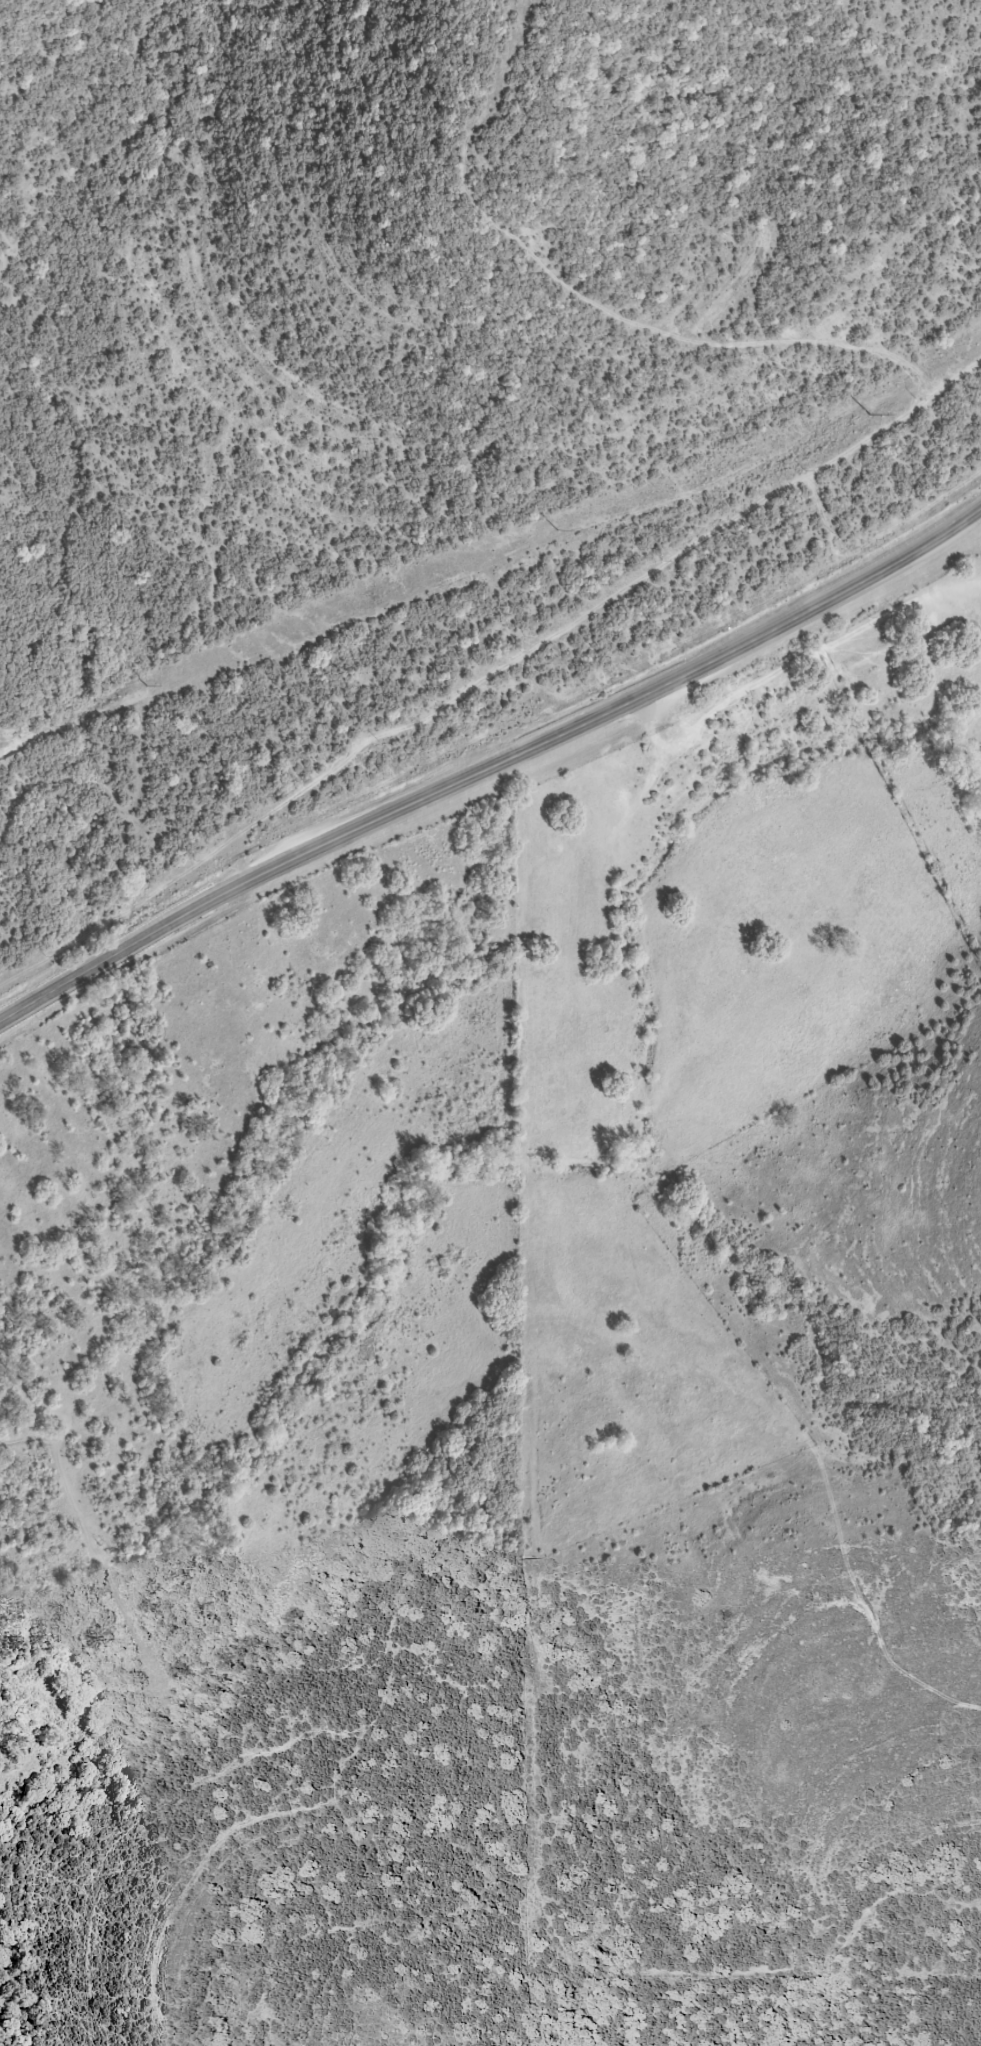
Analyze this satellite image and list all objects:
power tower: (872, 415)
power tower: (560, 531)
power tower: (148, 687)
road: (490, 771)

